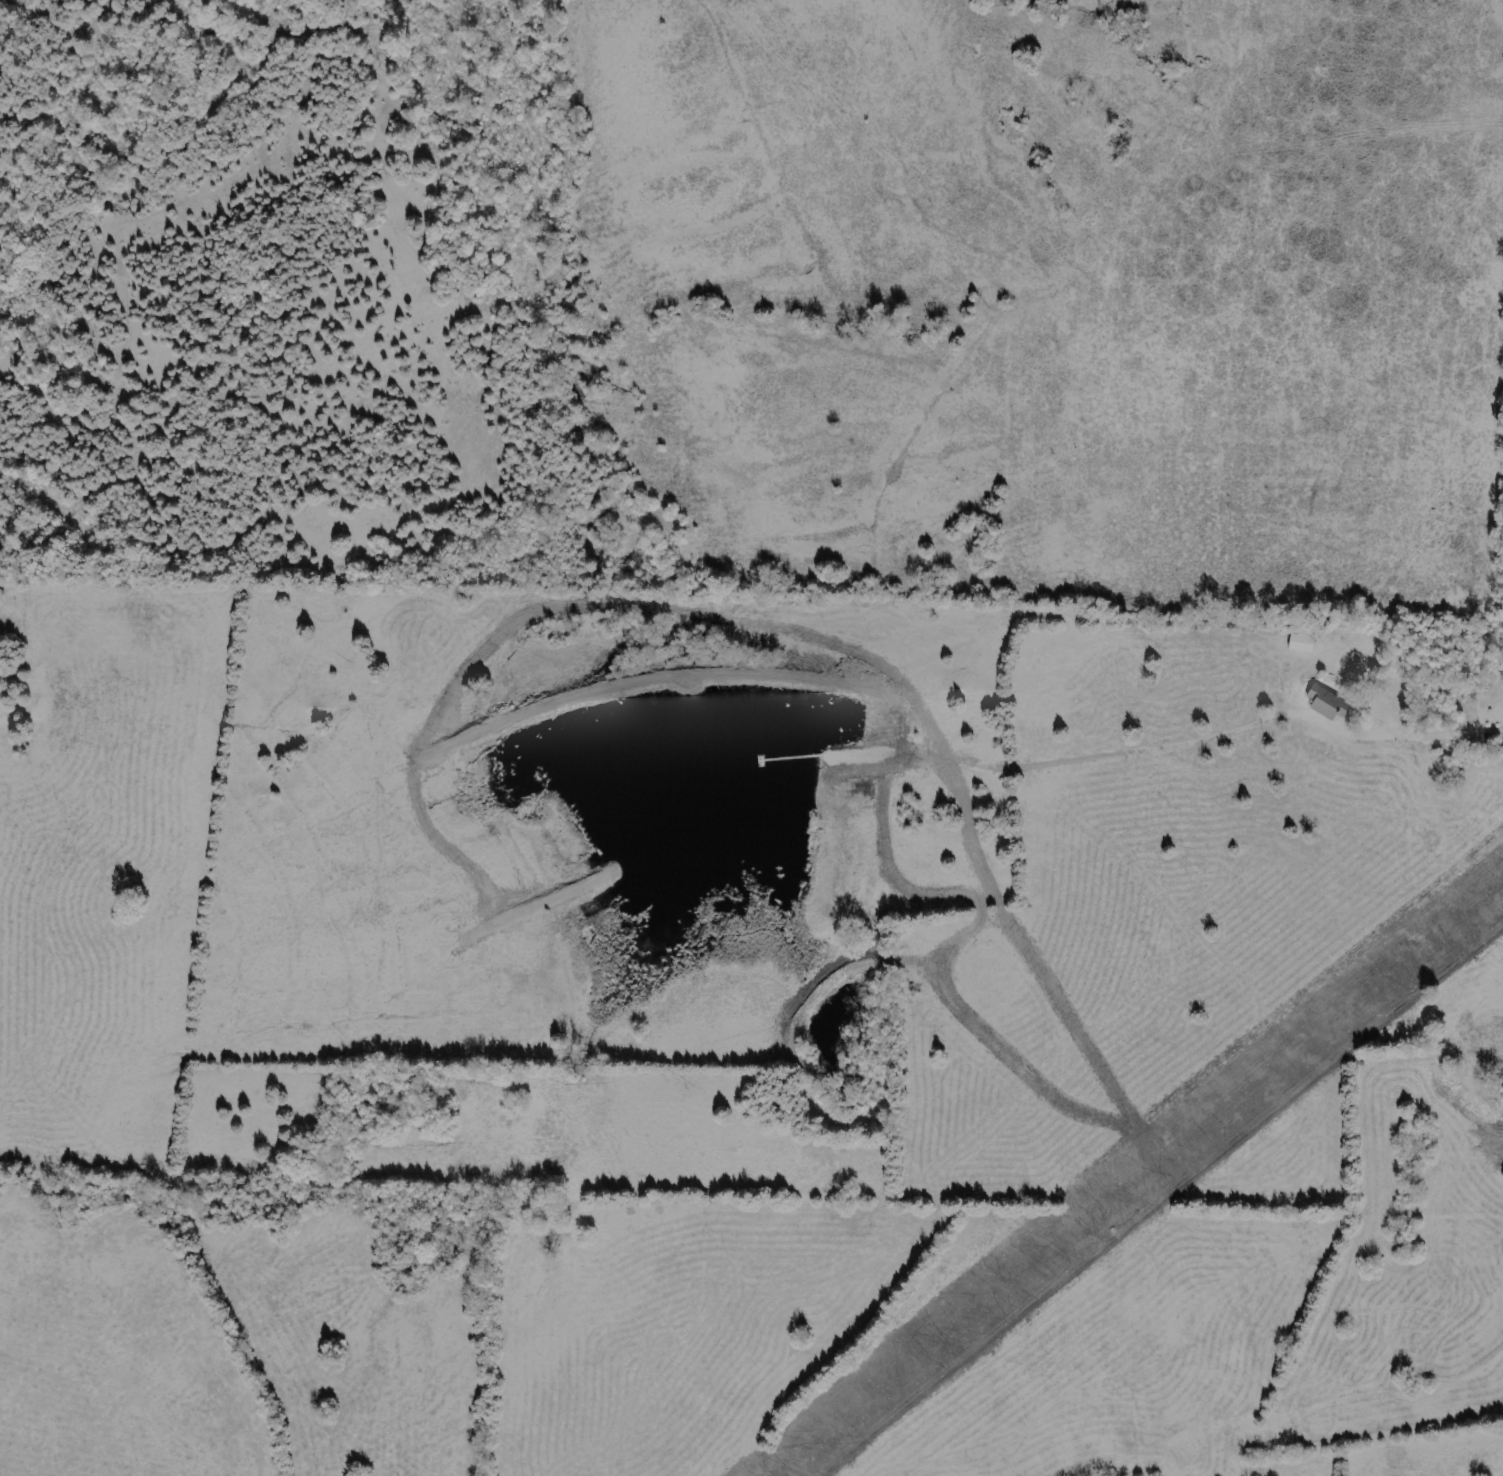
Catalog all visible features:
building: (1304, 642)
building: (1329, 702)

